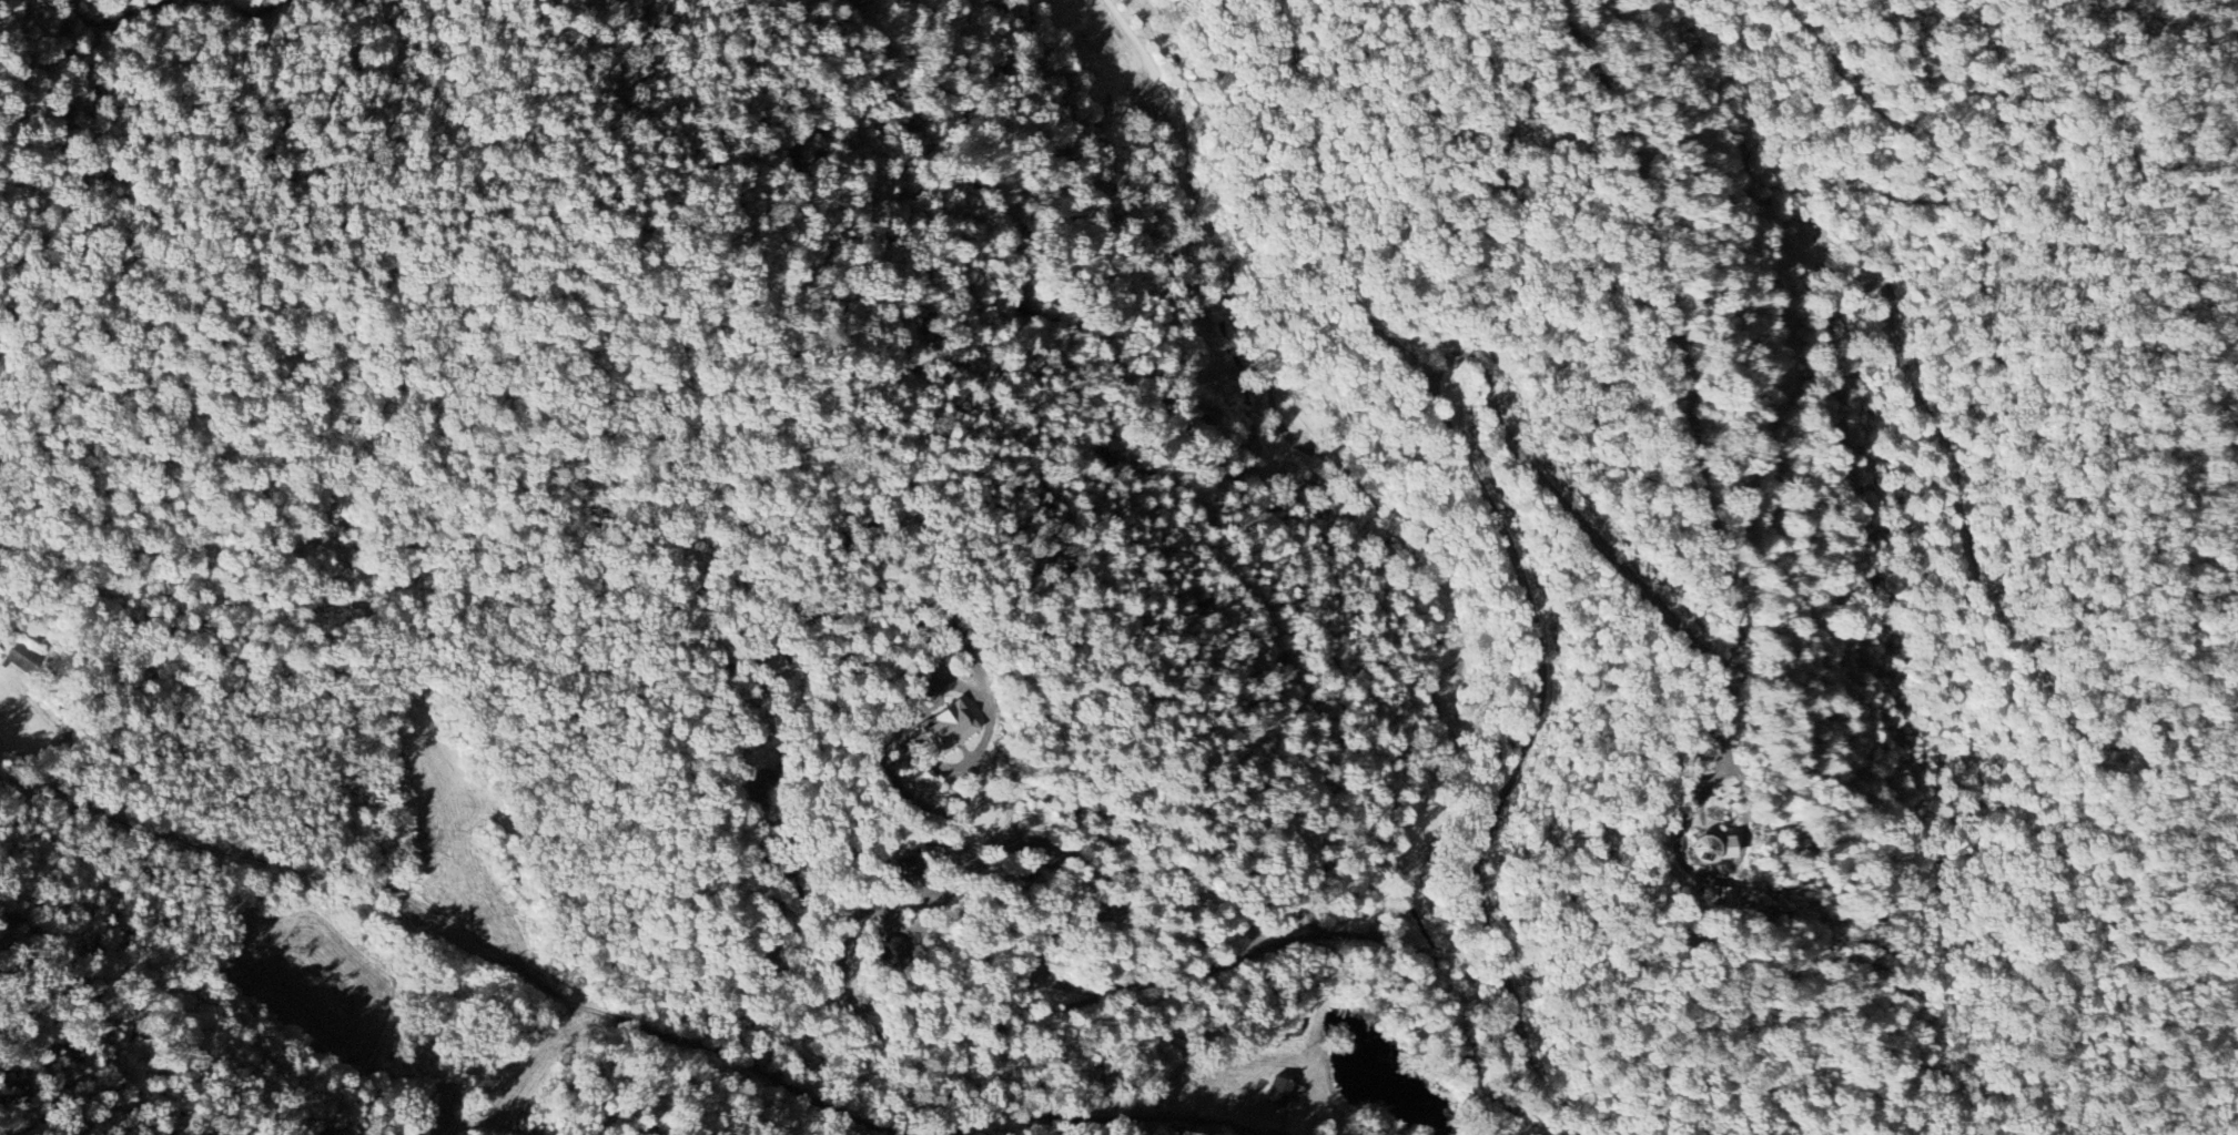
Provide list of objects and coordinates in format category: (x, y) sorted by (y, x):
road: (1558, 493)
road: (1417, 560)
road: (298, 566)
building: (949, 728)
road: (1675, 838)
road: (508, 931)
road: (1046, 933)
road: (1053, 1123)

